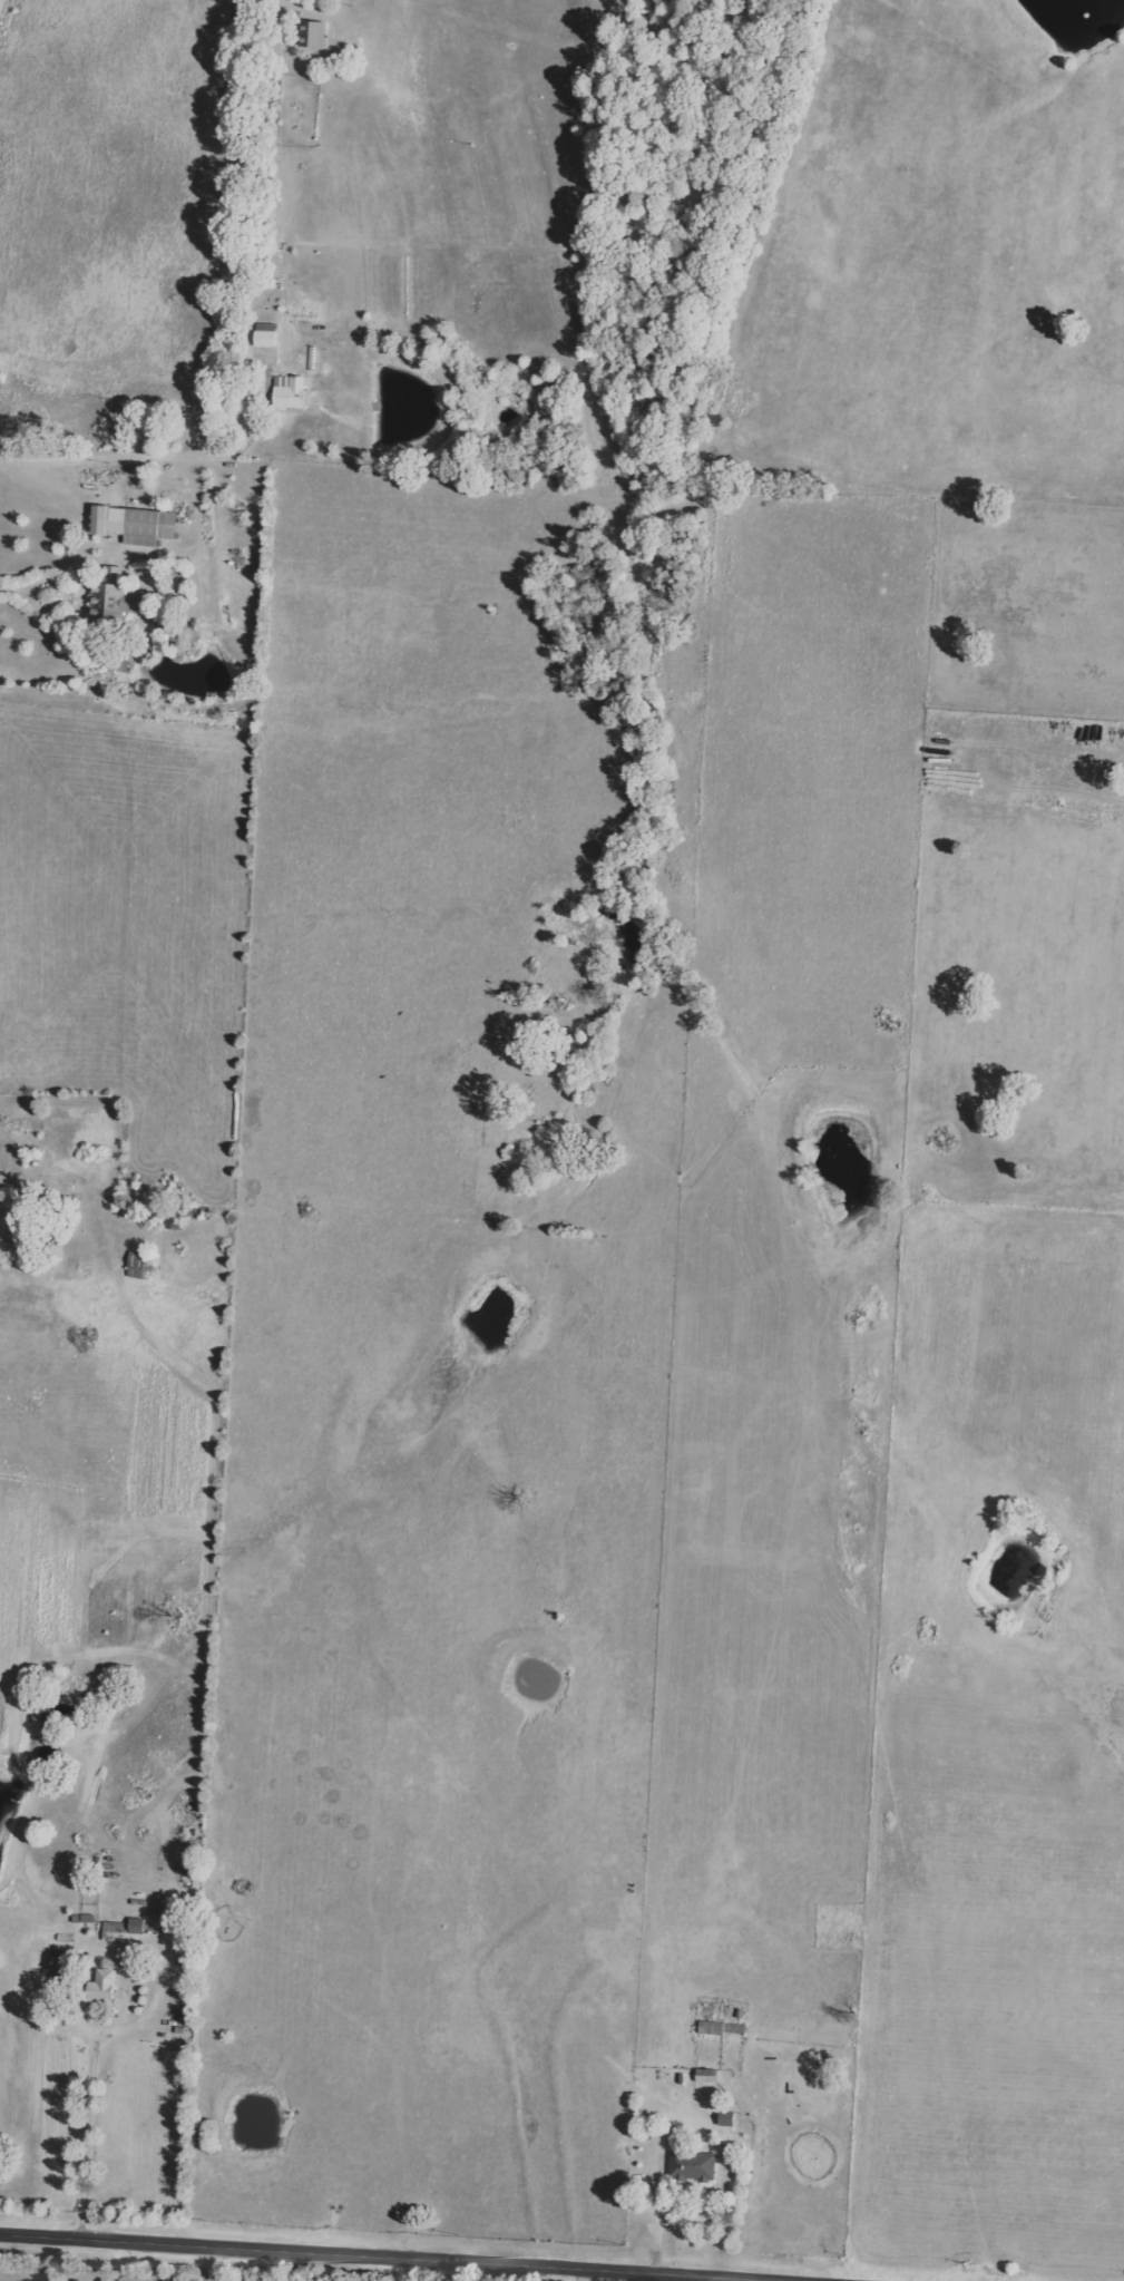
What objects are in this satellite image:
road: (282, 18)
building: (314, 33)
building: (265, 334)
building: (289, 392)
road: (68, 455)
building: (137, 525)
building: (113, 597)
building: (139, 1265)
building: (123, 1928)
building: (99, 1987)
building: (721, 2028)
building: (706, 2075)
road: (96, 2109)
building: (727, 2118)
building: (692, 2166)
road: (661, 2207)
road: (378, 2258)
road: (116, 2262)
road: (205, 2264)
road: (399, 2270)
road: (559, 2274)
road: (701, 2279)

